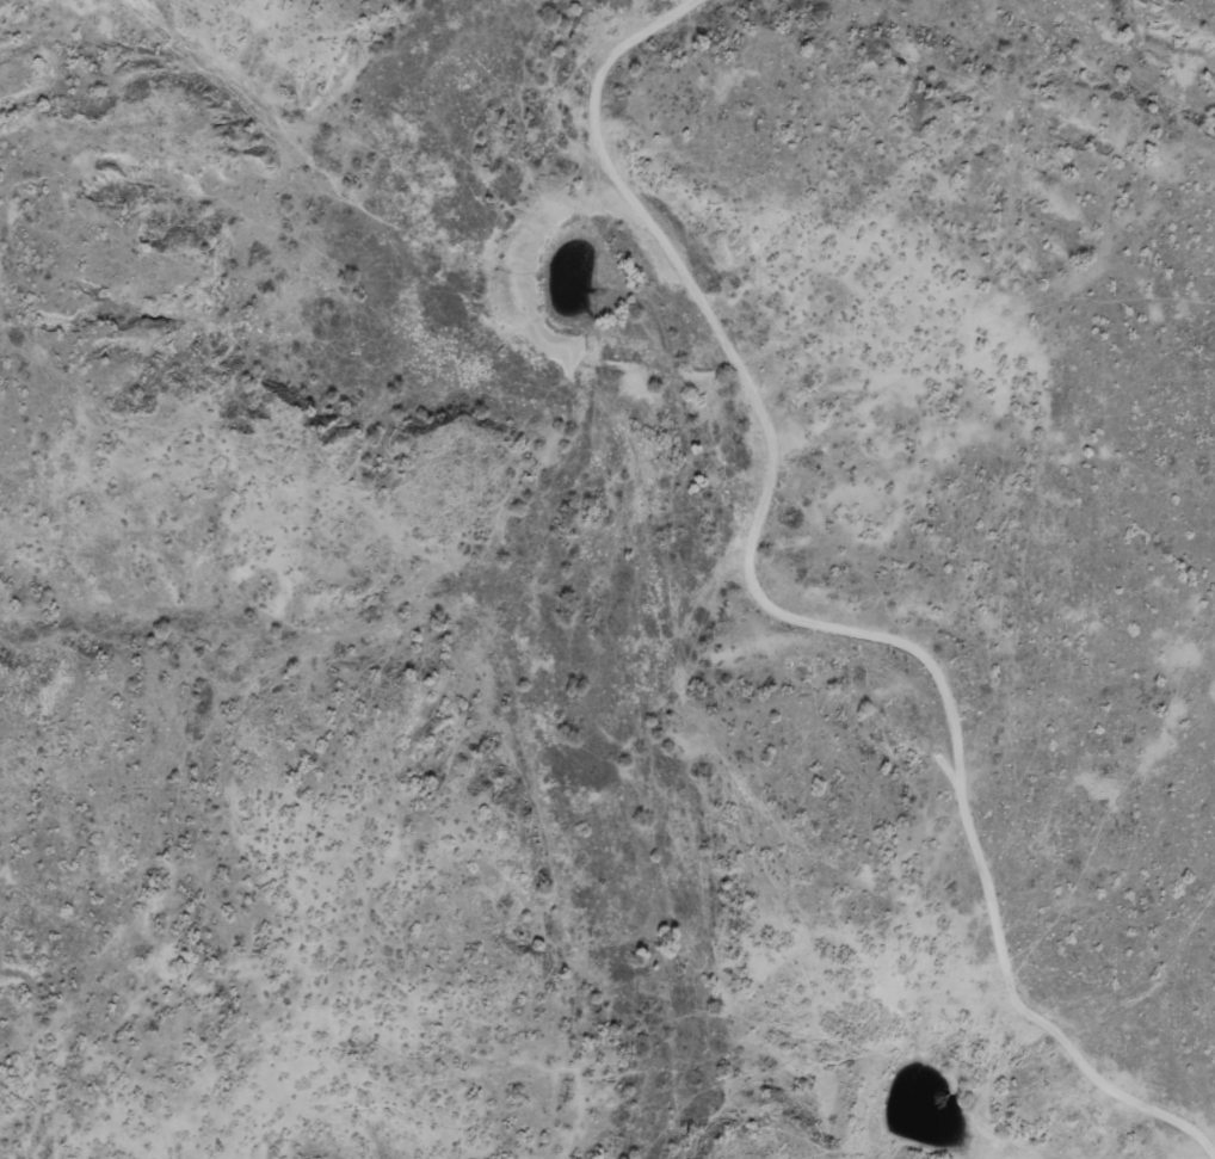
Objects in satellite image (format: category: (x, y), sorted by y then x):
road: (839, 603)

